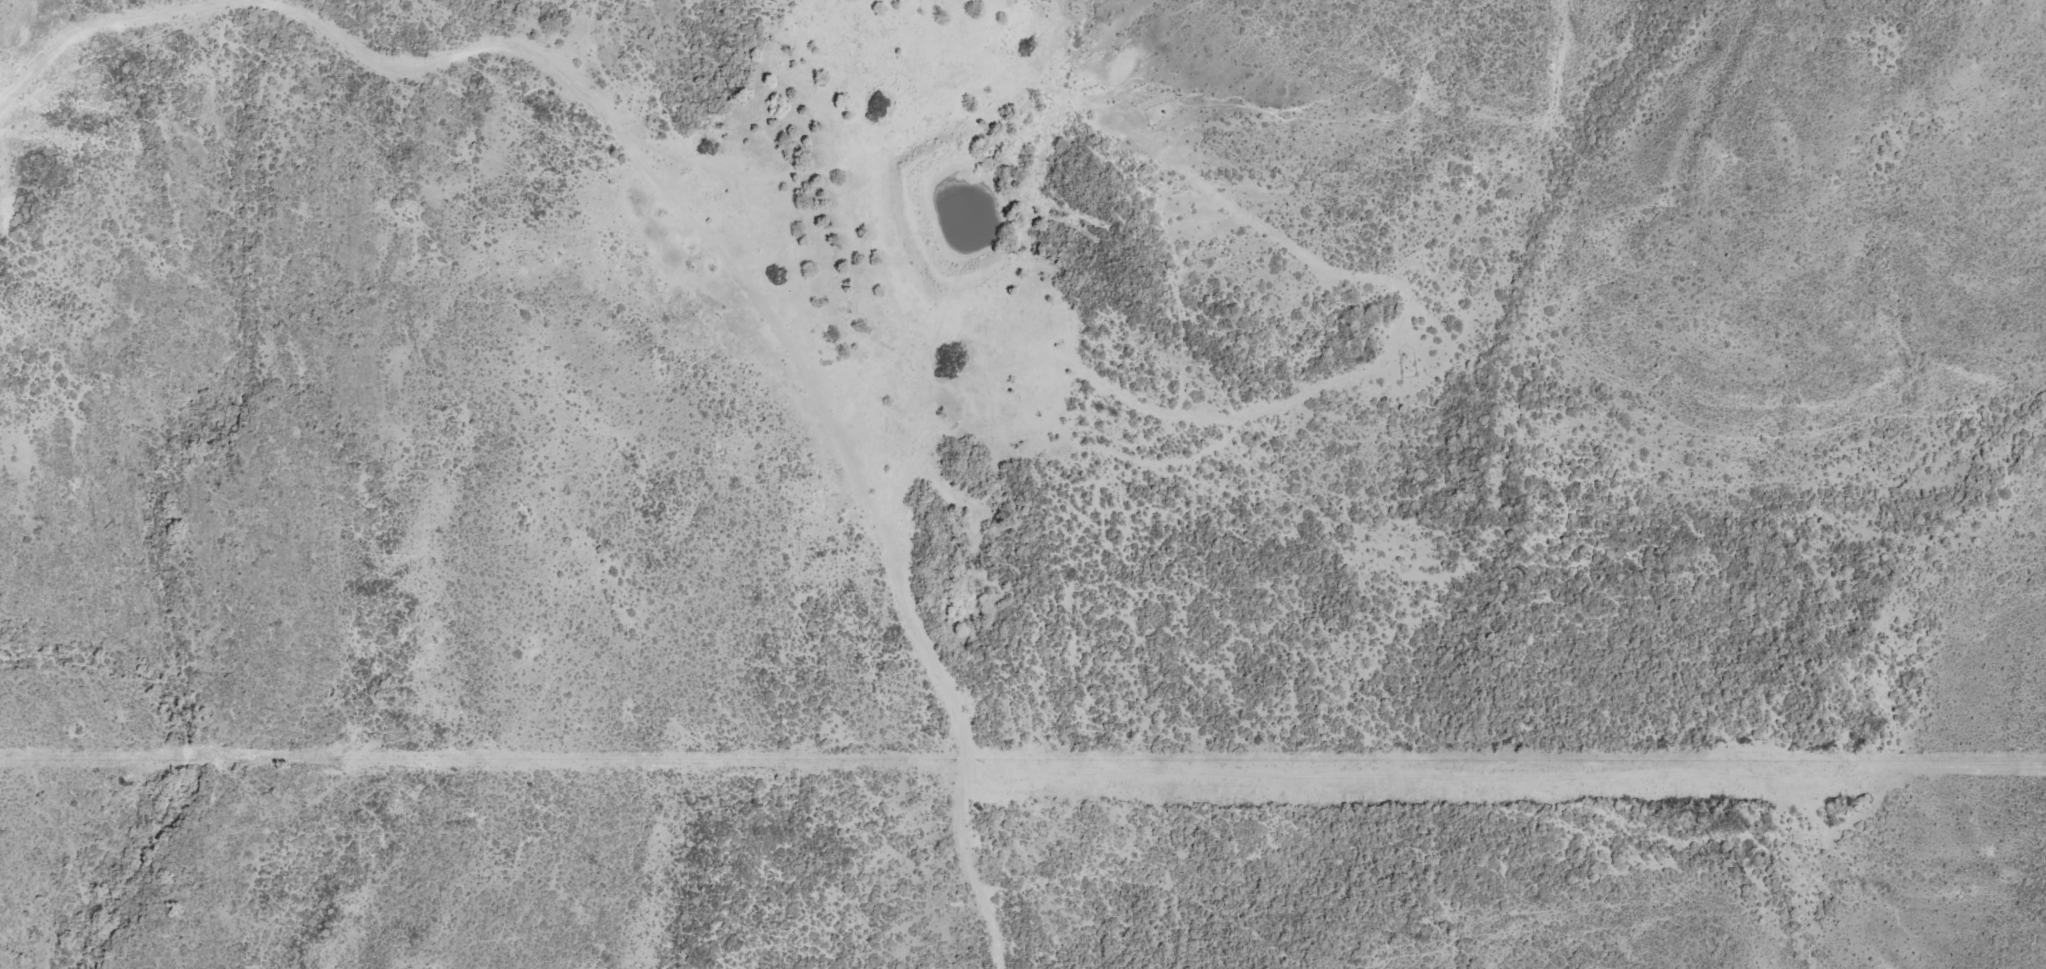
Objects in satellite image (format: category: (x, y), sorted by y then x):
road: (695, 224)

